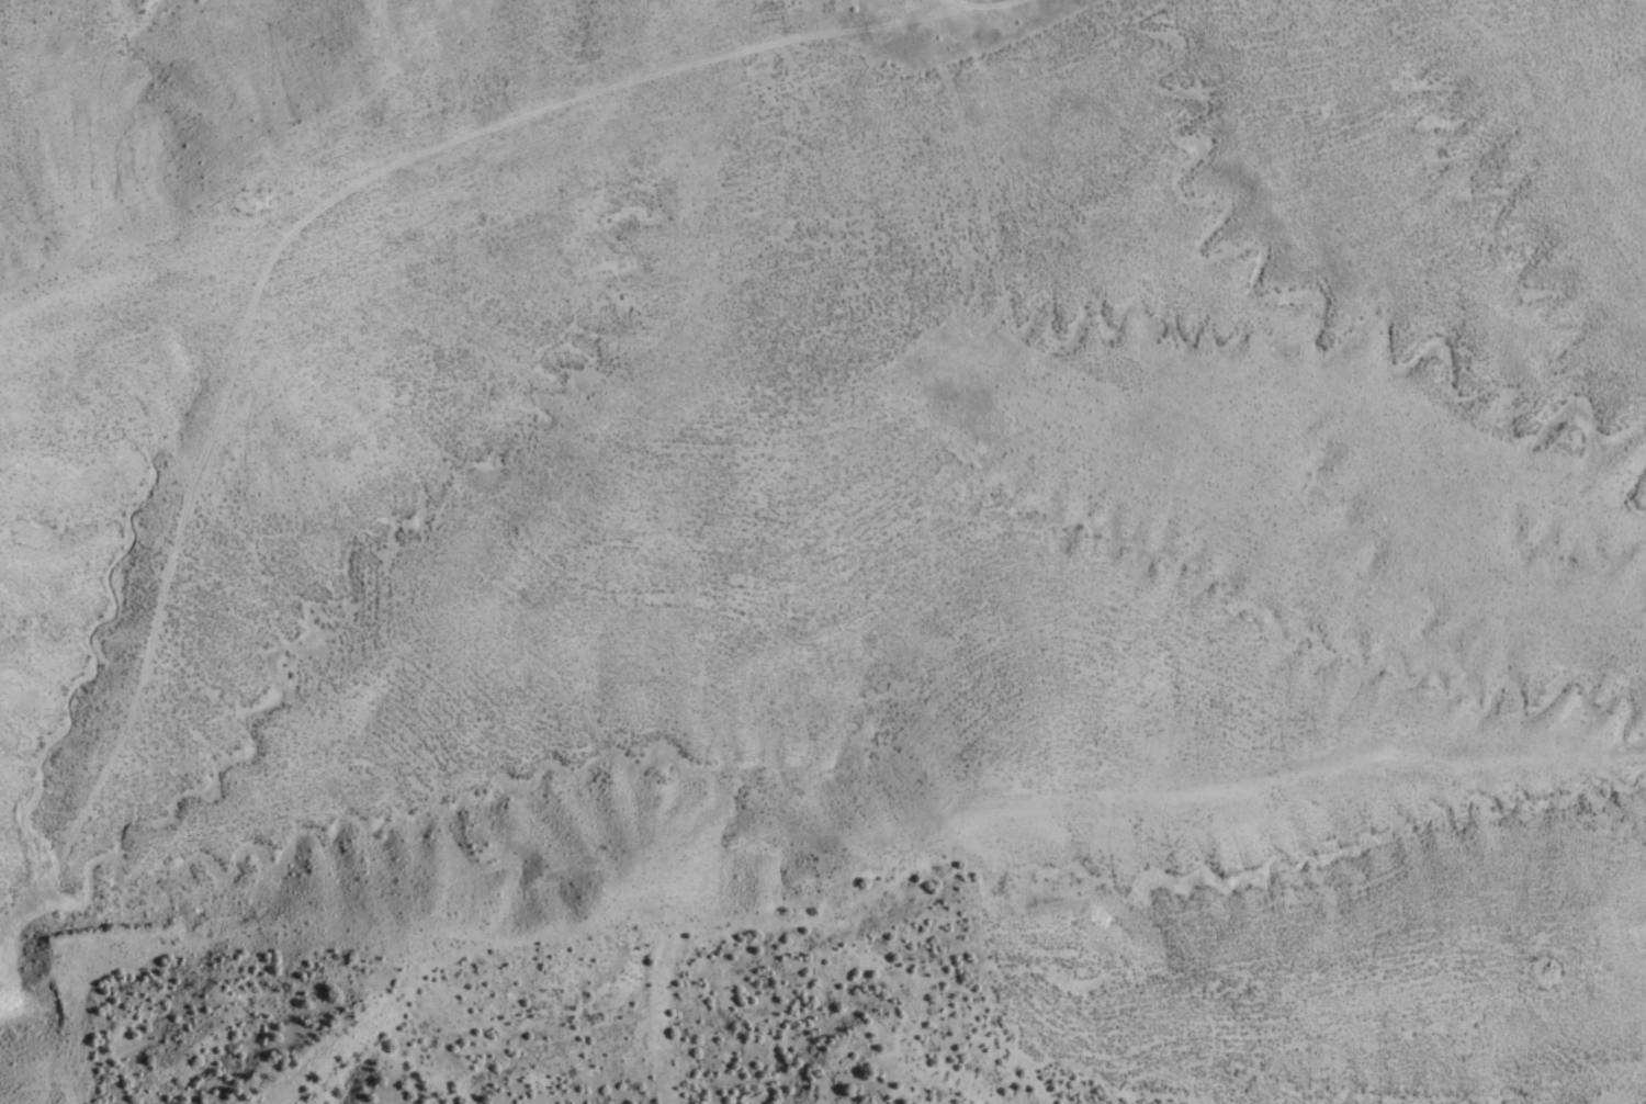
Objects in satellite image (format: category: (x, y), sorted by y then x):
road: (1420, 169)
road: (391, 300)
road: (894, 746)

